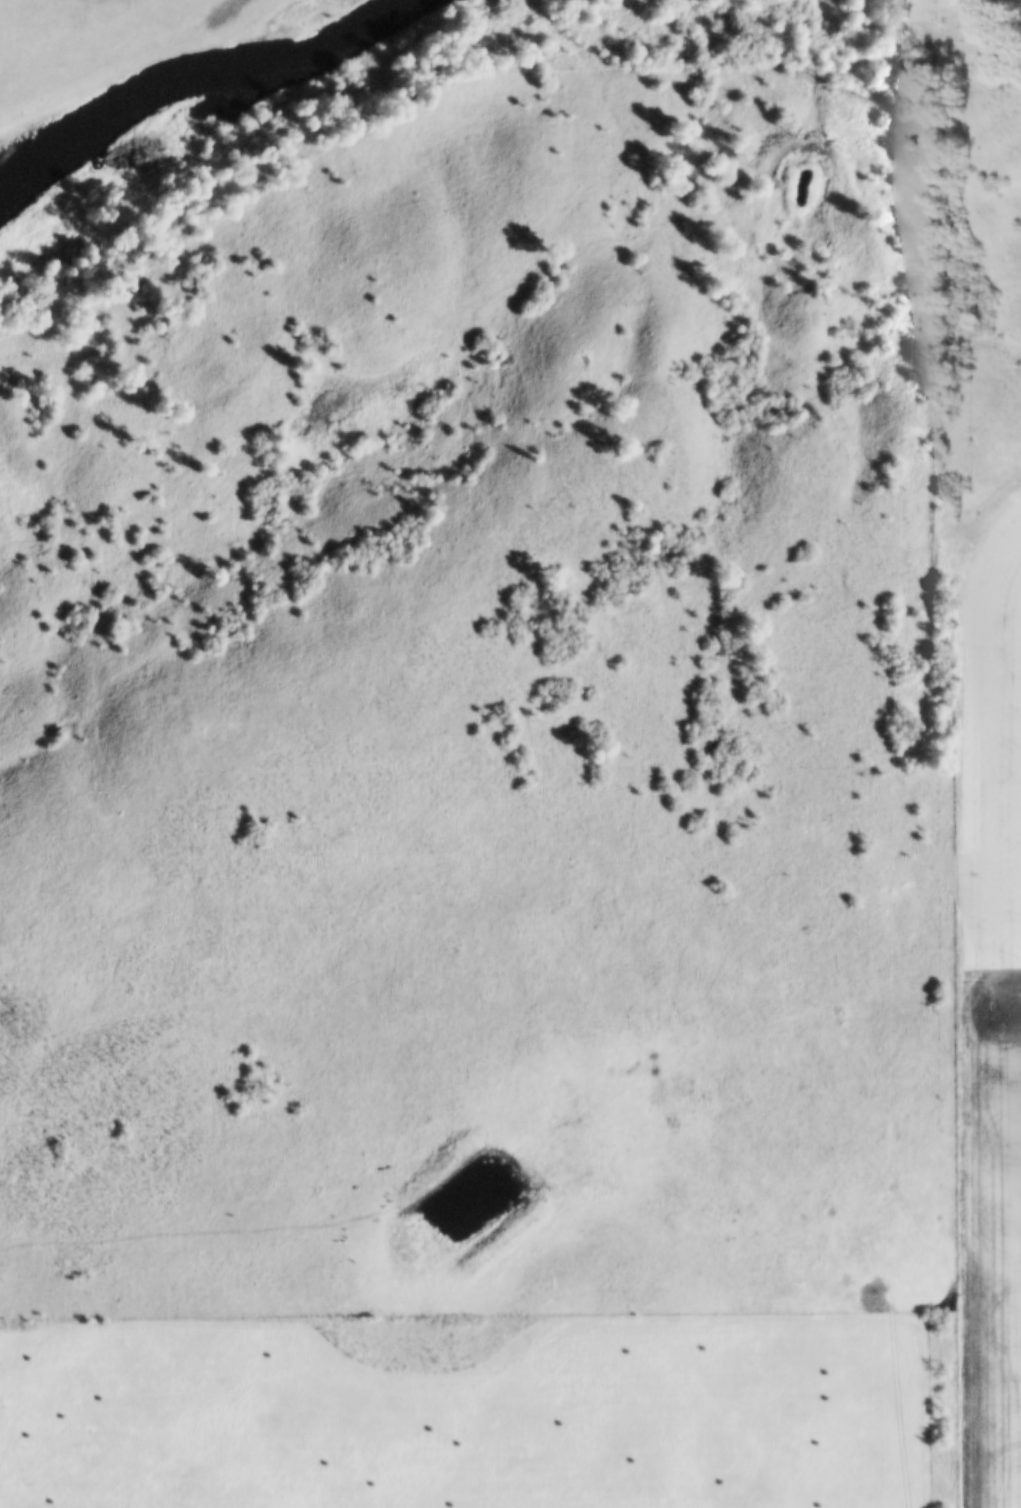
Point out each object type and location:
river: (189, 75)

